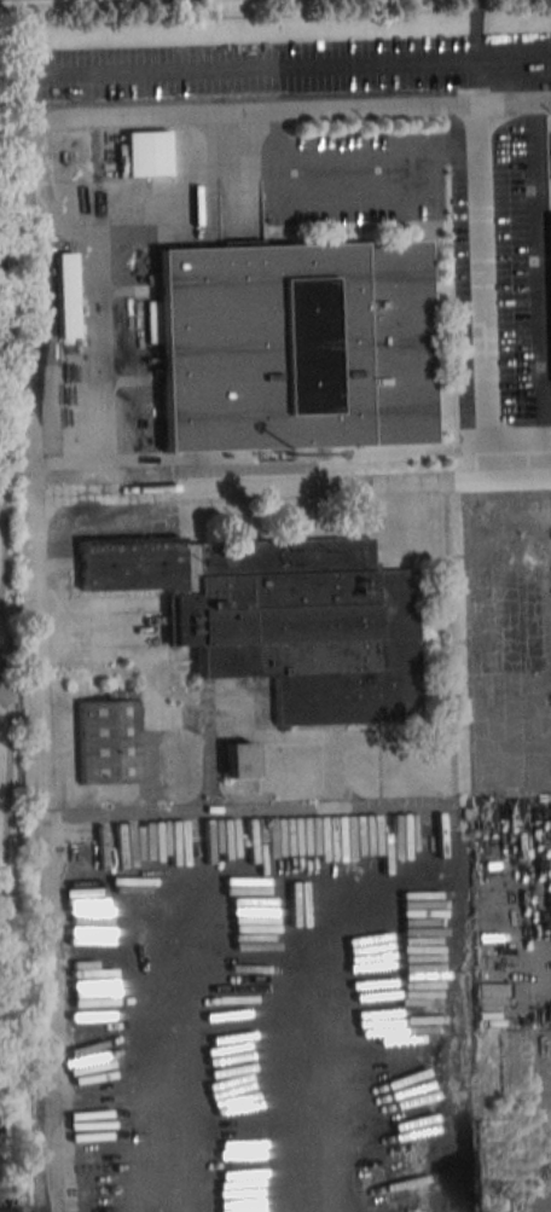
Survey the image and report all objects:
building: (146, 152)
building: (66, 295)
building: (294, 344)
road: (34, 451)
road: (520, 480)
road: (261, 485)
road: (5, 534)
building: (280, 619)
park: (10, 620)
road: (493, 656)
park: (0, 684)
building: (109, 738)
road: (11, 754)
building: (238, 760)
road: (272, 808)

